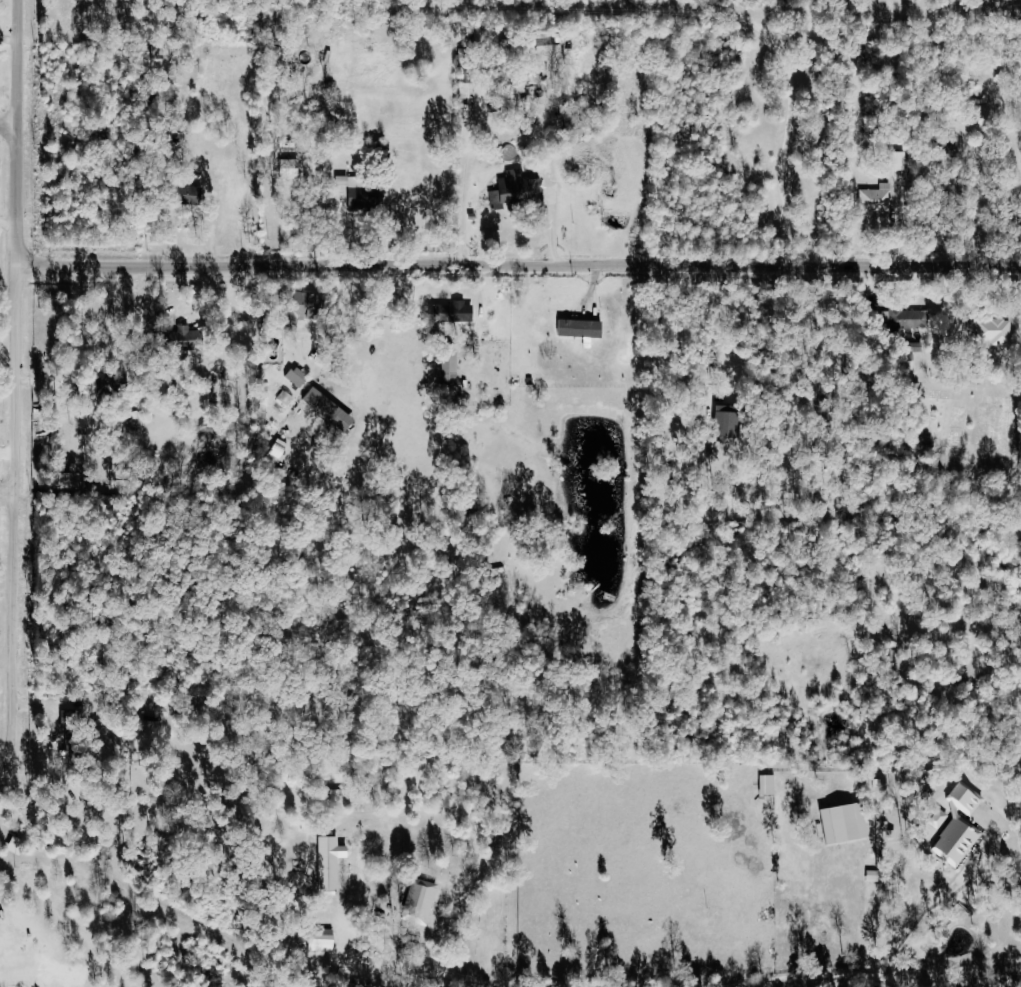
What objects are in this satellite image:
road: (883, 8)
road: (952, 15)
building: (548, 47)
building: (299, 69)
road: (9, 124)
road: (18, 133)
building: (951, 145)
road: (468, 160)
building: (287, 168)
building: (517, 189)
building: (877, 199)
road: (519, 267)
building: (453, 312)
building: (903, 319)
building: (995, 333)
building: (594, 334)
building: (192, 338)
building: (449, 369)
building: (301, 377)
road: (18, 380)
building: (334, 410)
building: (720, 421)
road: (16, 625)
building: (73, 743)
building: (767, 785)
building: (963, 799)
building: (938, 819)
building: (841, 823)
building: (956, 841)
road: (1012, 847)
building: (335, 862)
building: (0, 894)
building: (426, 899)
road: (837, 974)
road: (451, 975)

